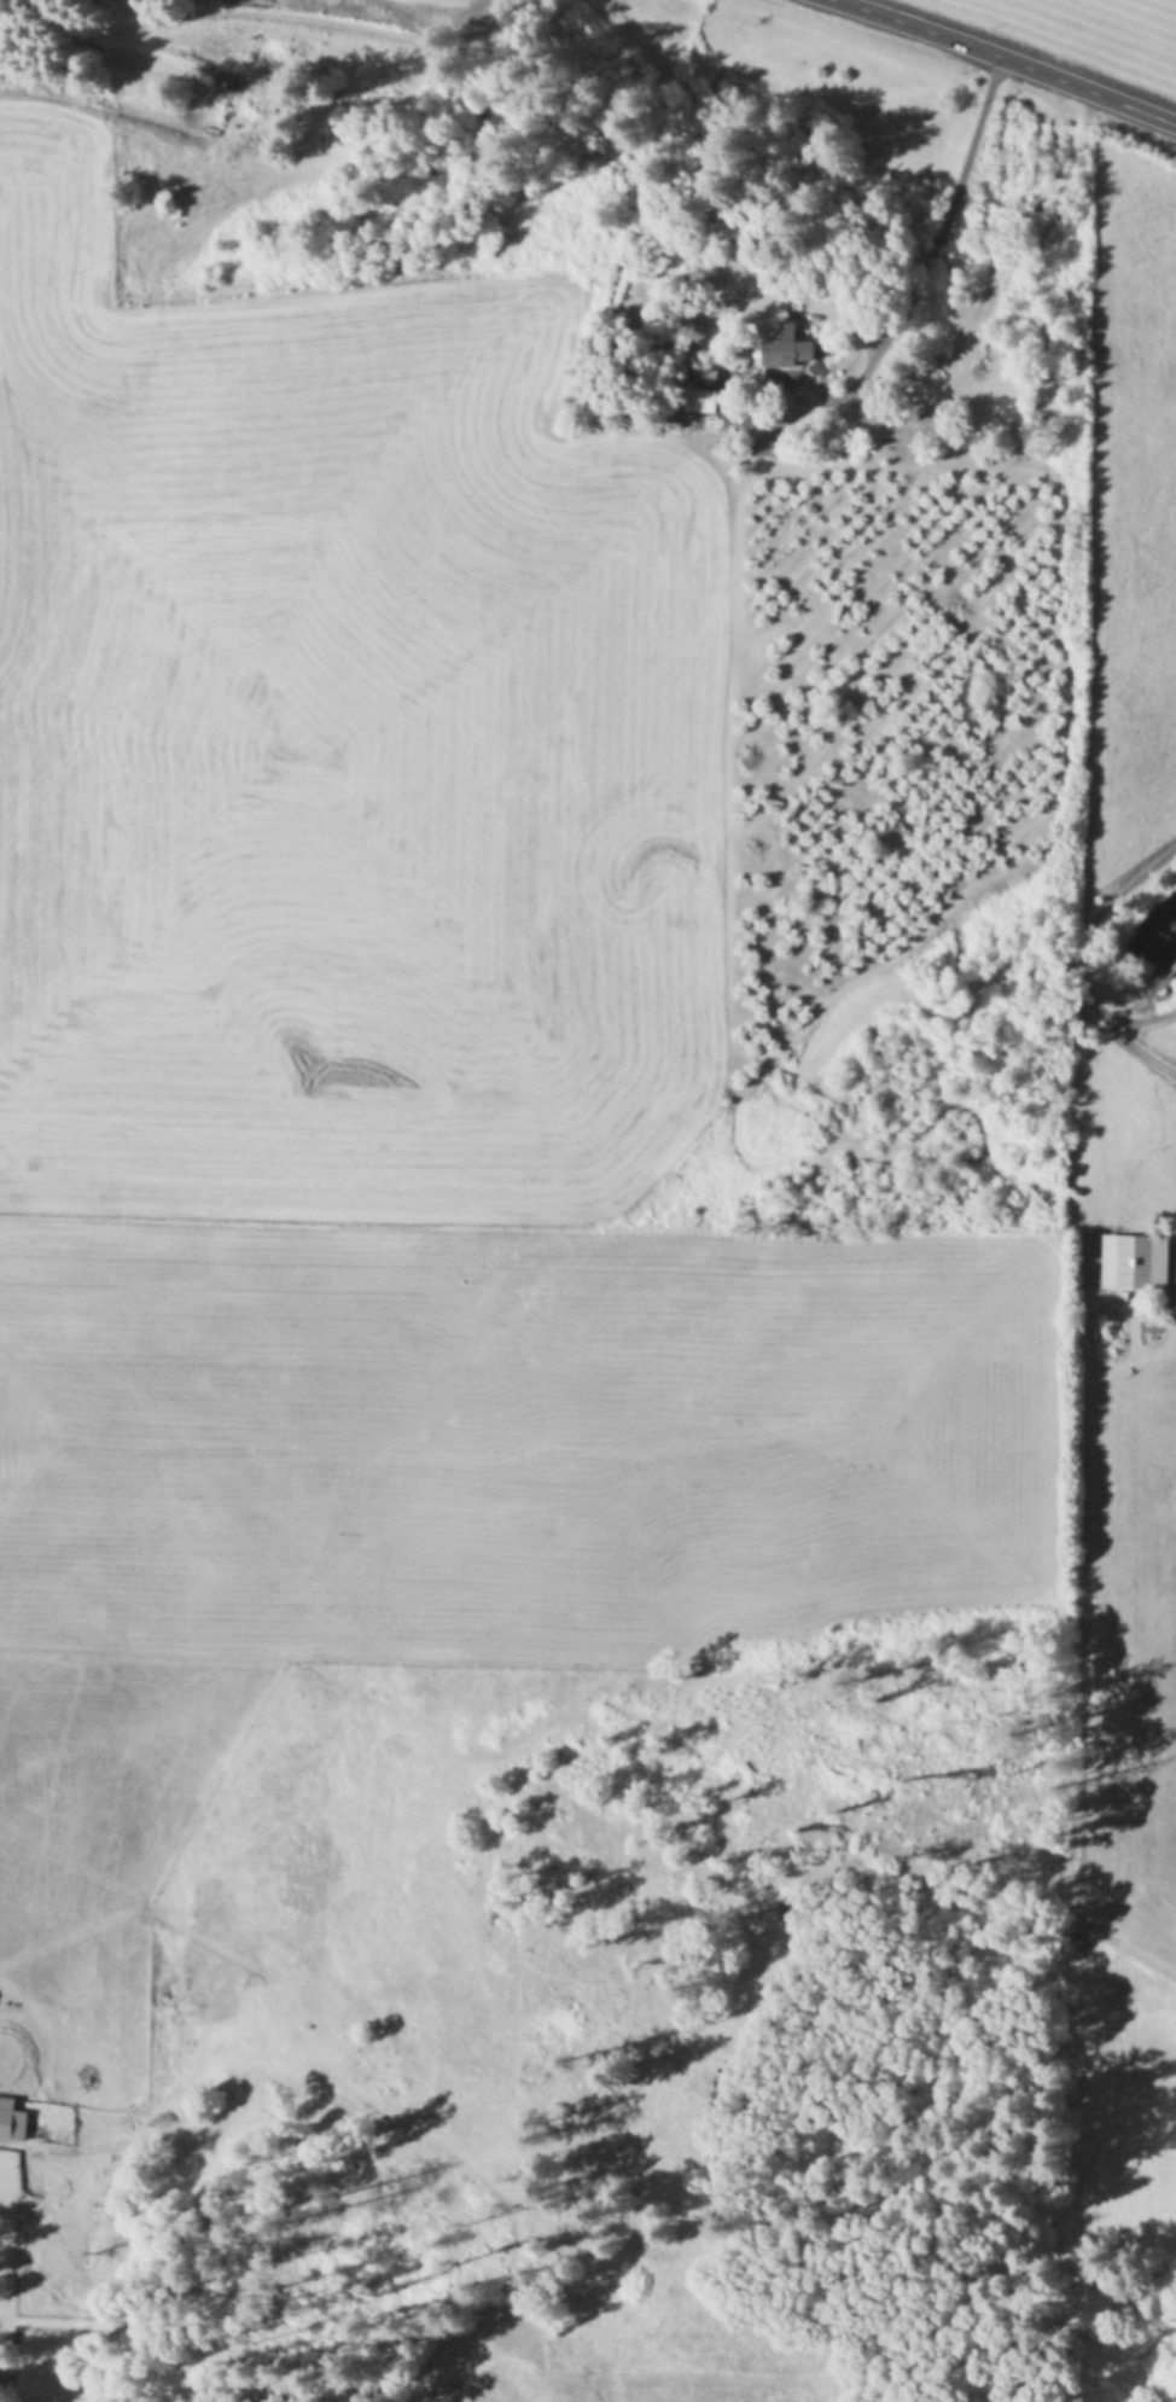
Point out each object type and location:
road: (1005, 59)
road: (941, 227)
building: (796, 345)
road: (1087, 967)
road: (1137, 1018)
crop: (482, 1173)
building: (1133, 1260)
building: (13, 2118)

